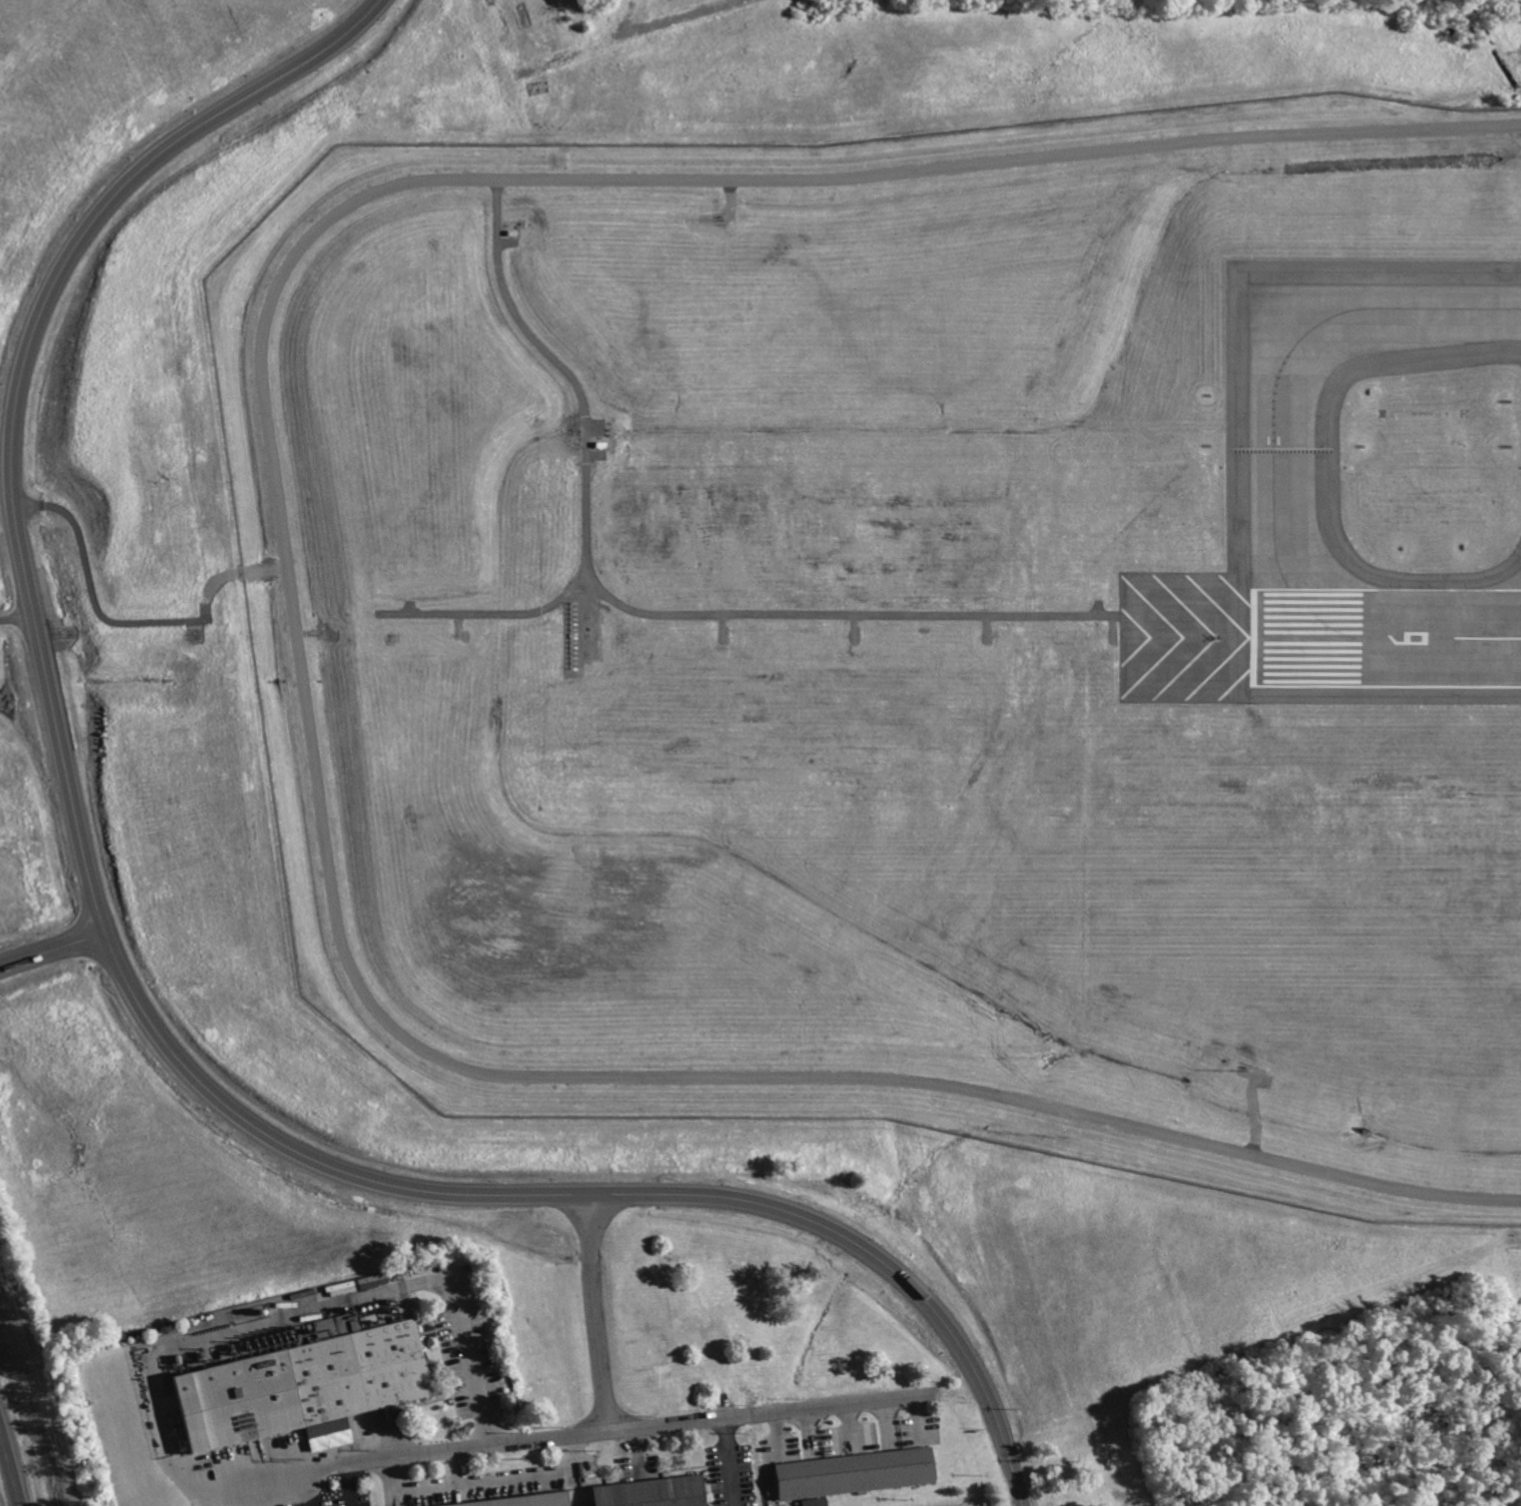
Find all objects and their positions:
road: (1390, 130)
airport taxiway: (1409, 322)
airport taxiway: (1296, 486)
road: (92, 594)
road: (633, 608)
road: (492, 613)
road: (19, 619)
airport: (912, 632)
airport runway: (1336, 642)
road: (311, 724)
road: (52, 945)
road: (122, 972)
road: (597, 1315)
building: (371, 1319)
road: (241, 1326)
building: (300, 1385)
road: (916, 1416)
road: (885, 1420)
road: (847, 1427)
road: (639, 1429)
road: (635, 1452)
road: (768, 1459)
road: (726, 1463)
road: (10, 1467)
road: (453, 1467)
building: (856, 1477)
road: (484, 1479)
road: (349, 1484)
road: (574, 1487)
road: (306, 1488)
building: (653, 1493)
building: (531, 1501)
building: (813, 1501)

